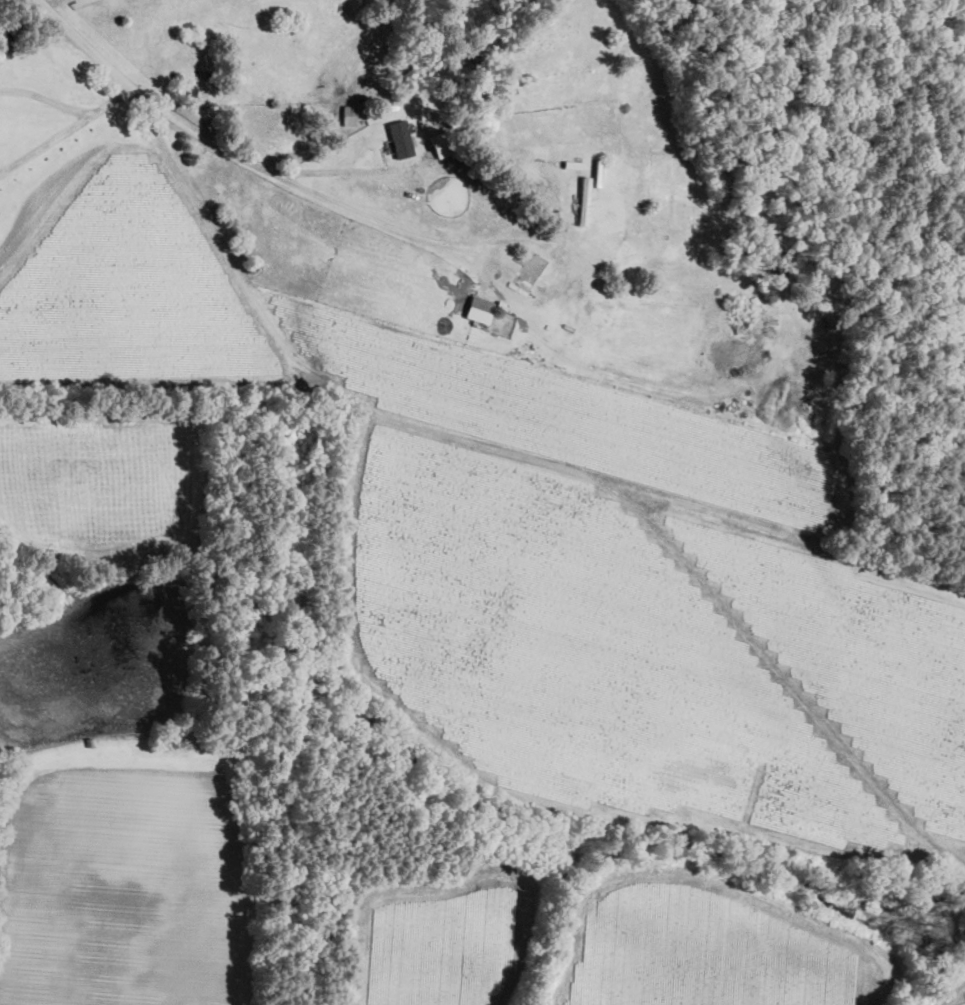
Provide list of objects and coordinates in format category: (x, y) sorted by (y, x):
road: (6, 89)
road: (155, 97)
road: (107, 98)
road: (48, 102)
building: (347, 114)
building: (398, 138)
road: (43, 143)
building: (438, 145)
road: (391, 226)
building: (477, 309)

